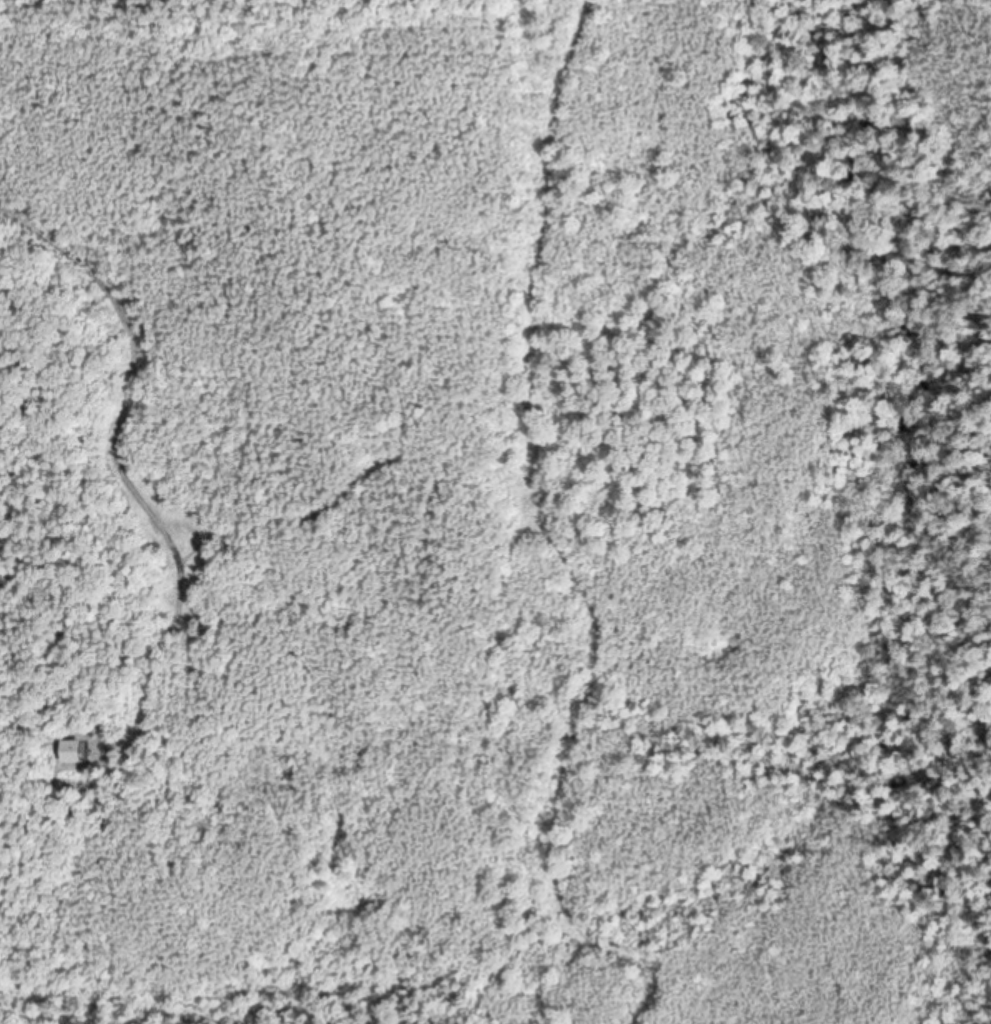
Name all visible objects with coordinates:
road: (113, 444)
building: (73, 753)
building: (62, 817)

